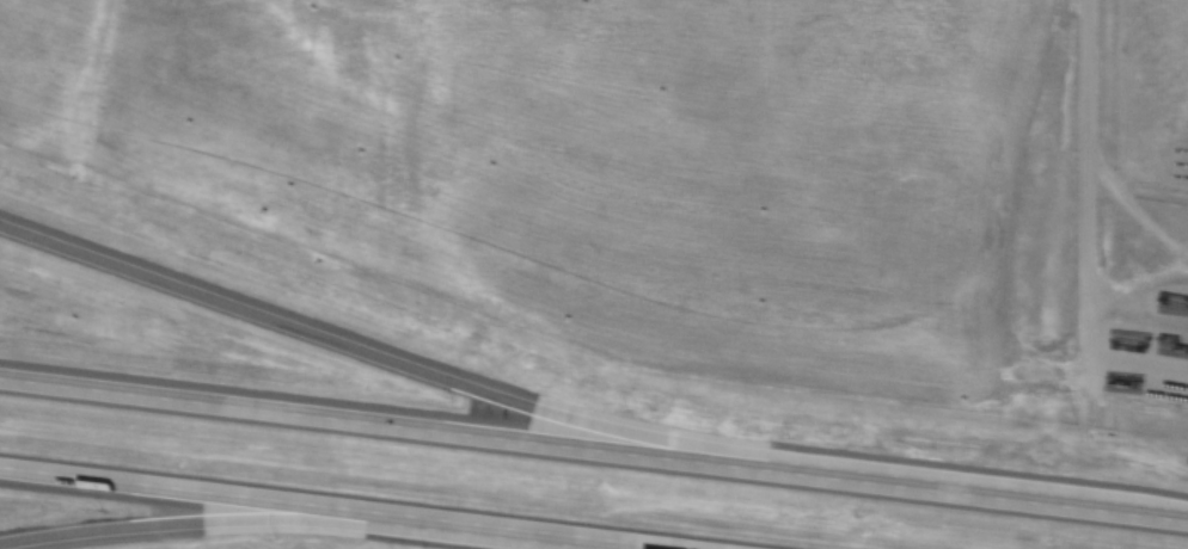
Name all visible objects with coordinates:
road: (1088, 214)
road: (445, 381)
road: (594, 454)
road: (324, 508)
road: (299, 525)

